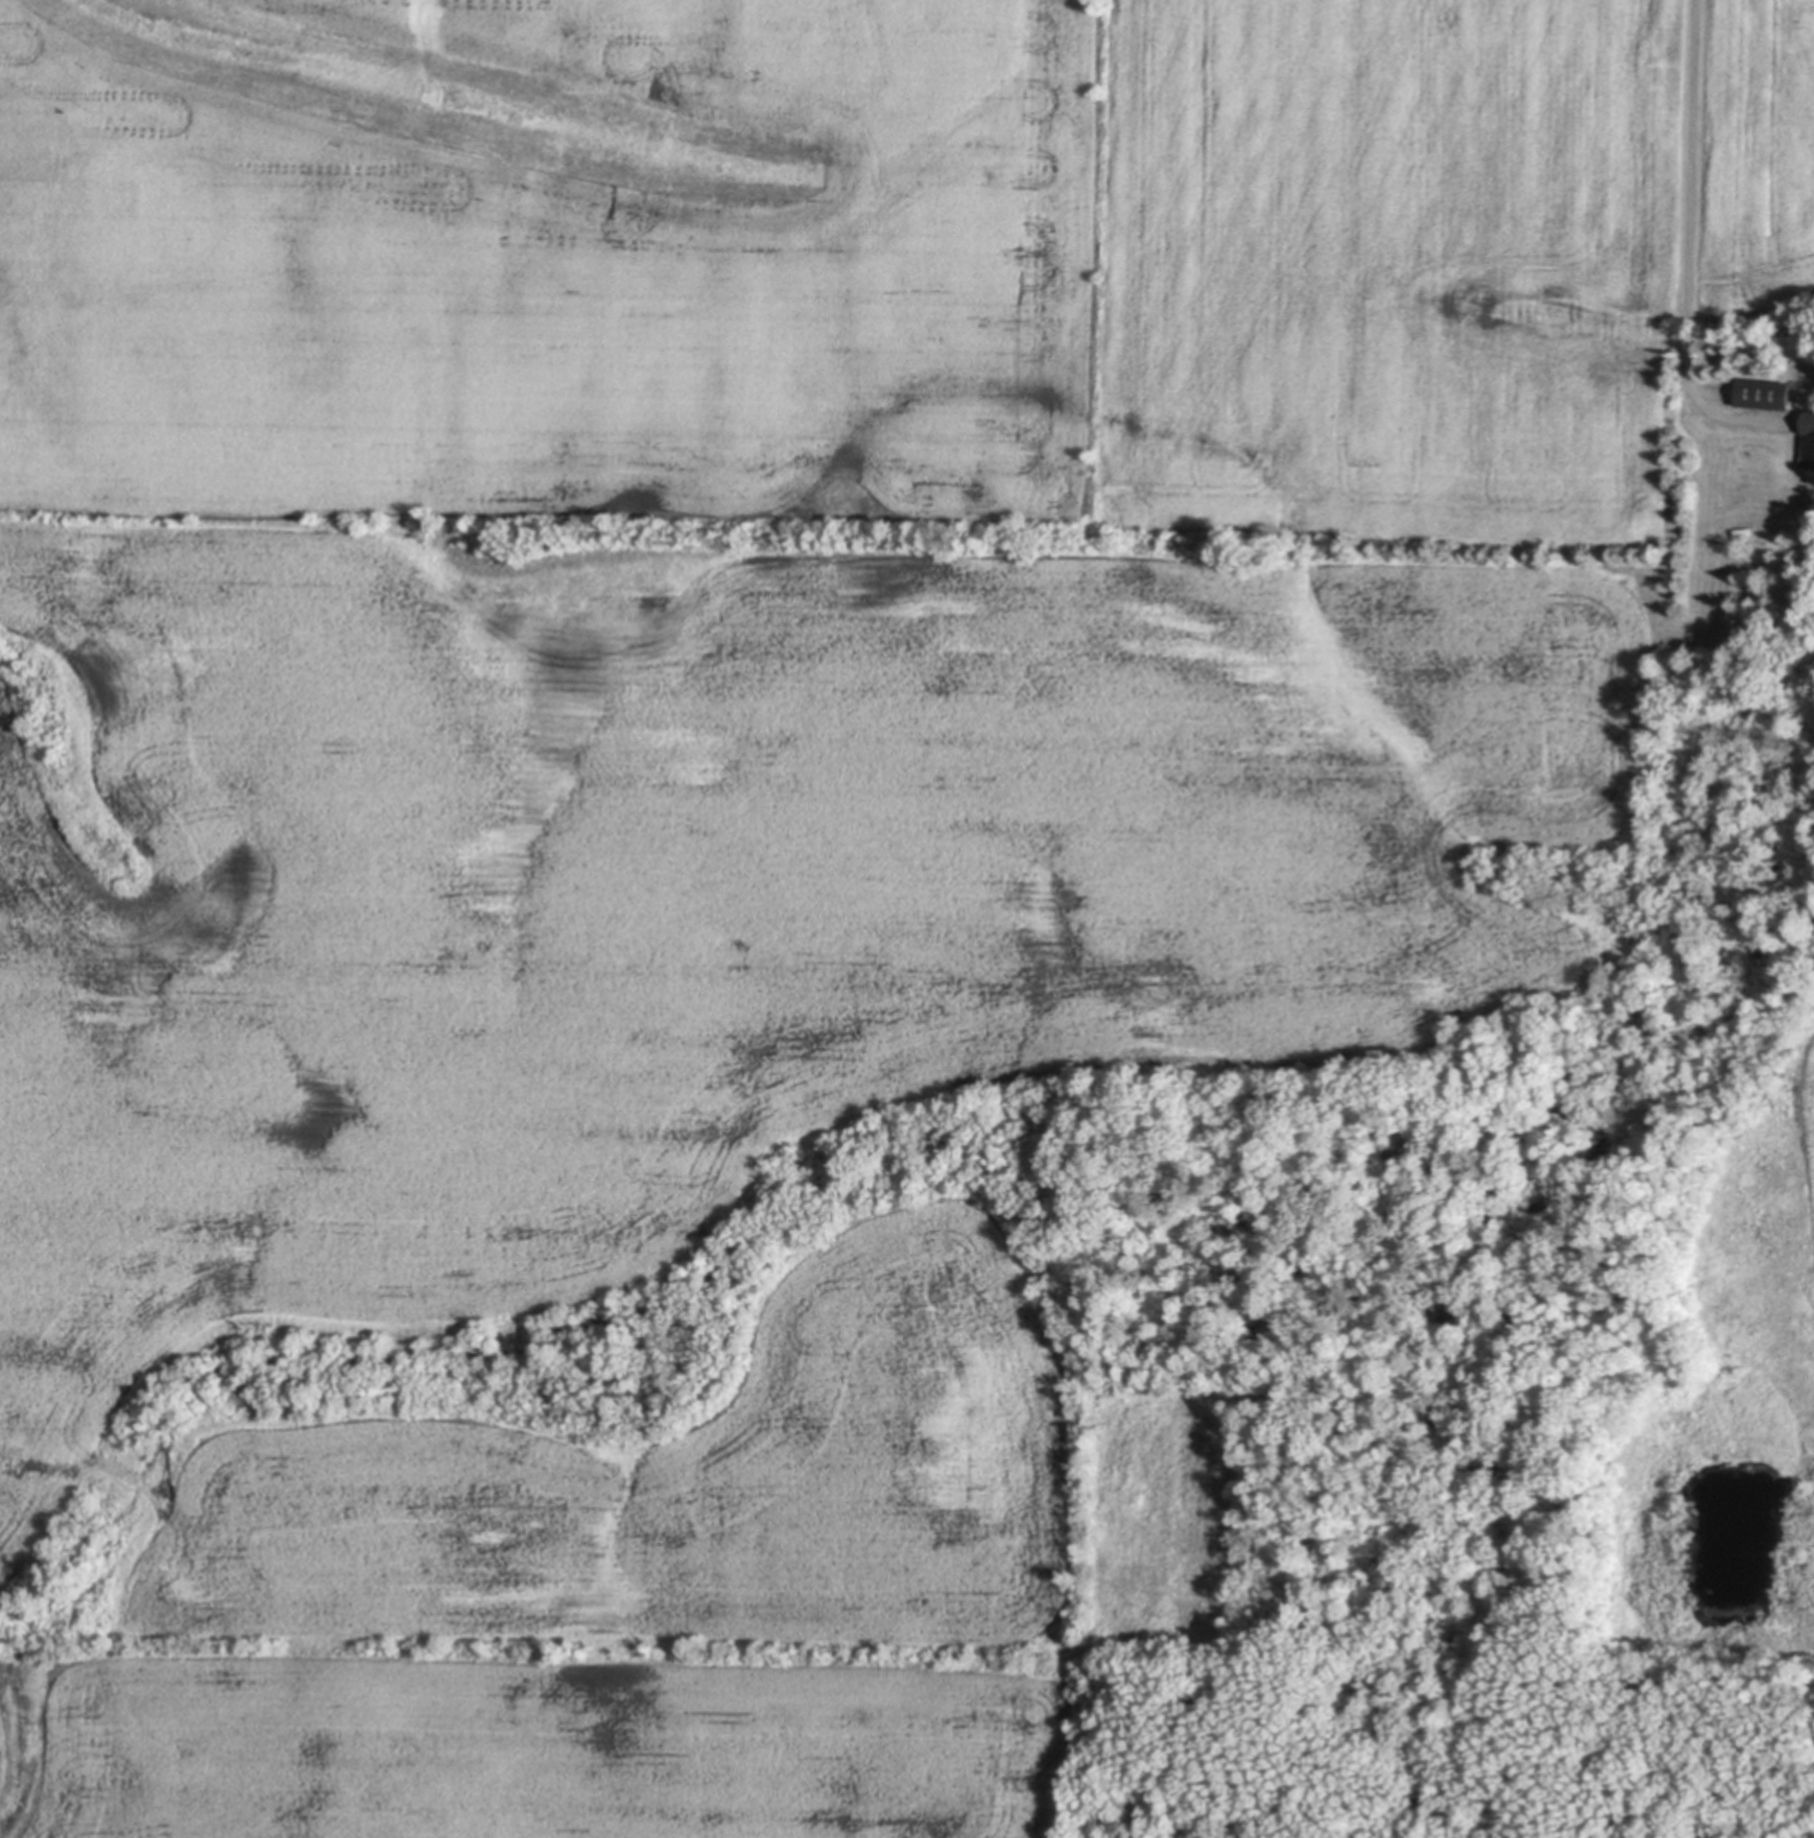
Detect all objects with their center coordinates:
road: (1687, 241)
building: (1768, 395)
building: (1810, 439)

